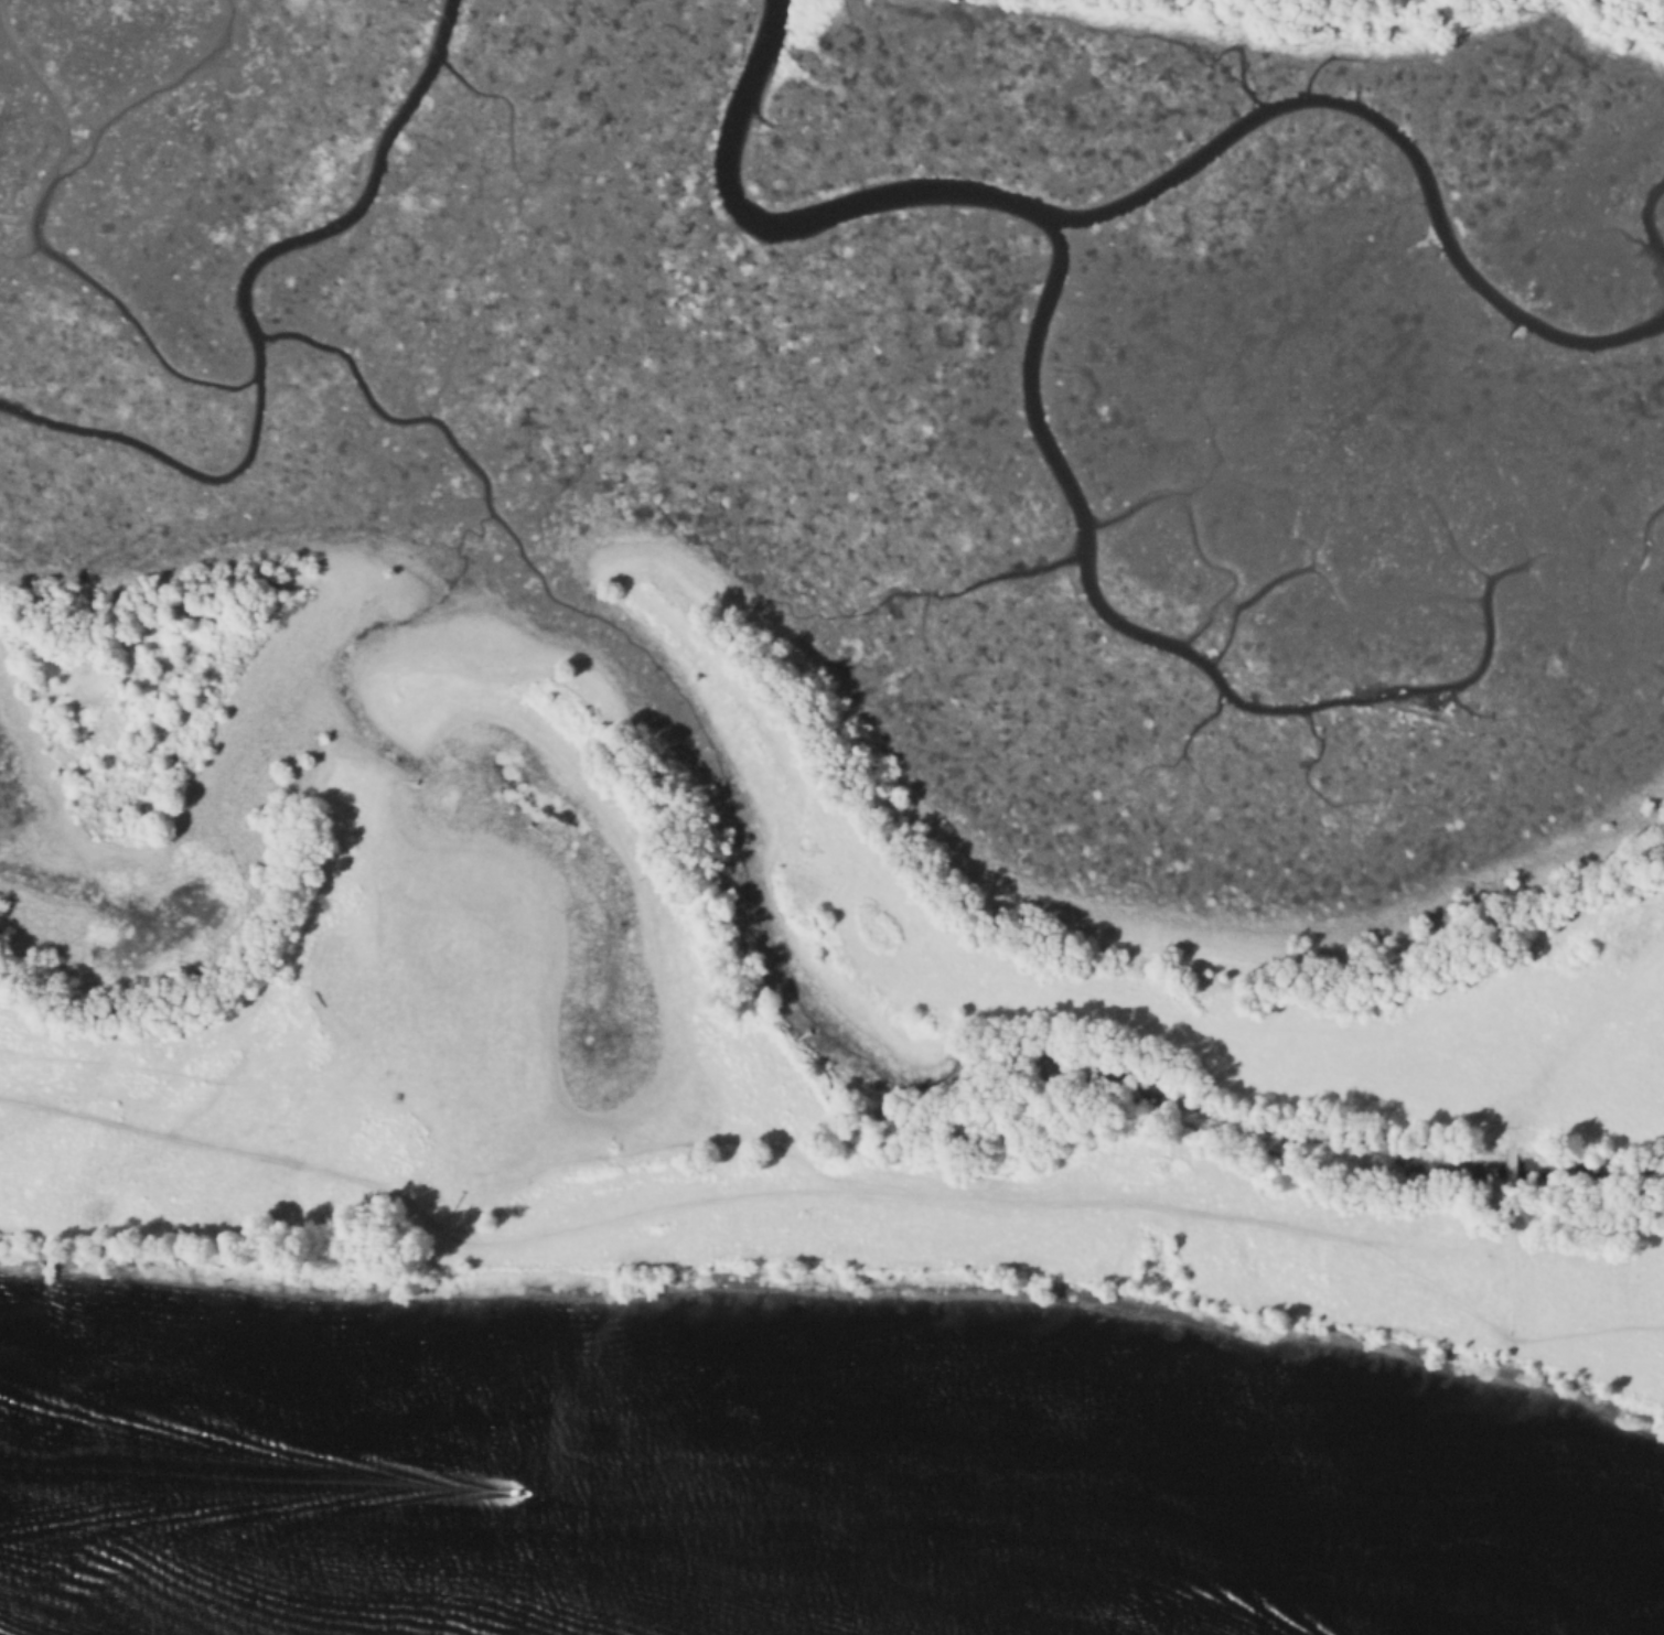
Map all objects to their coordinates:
road: (1511, 1153)
river: (734, 1526)

